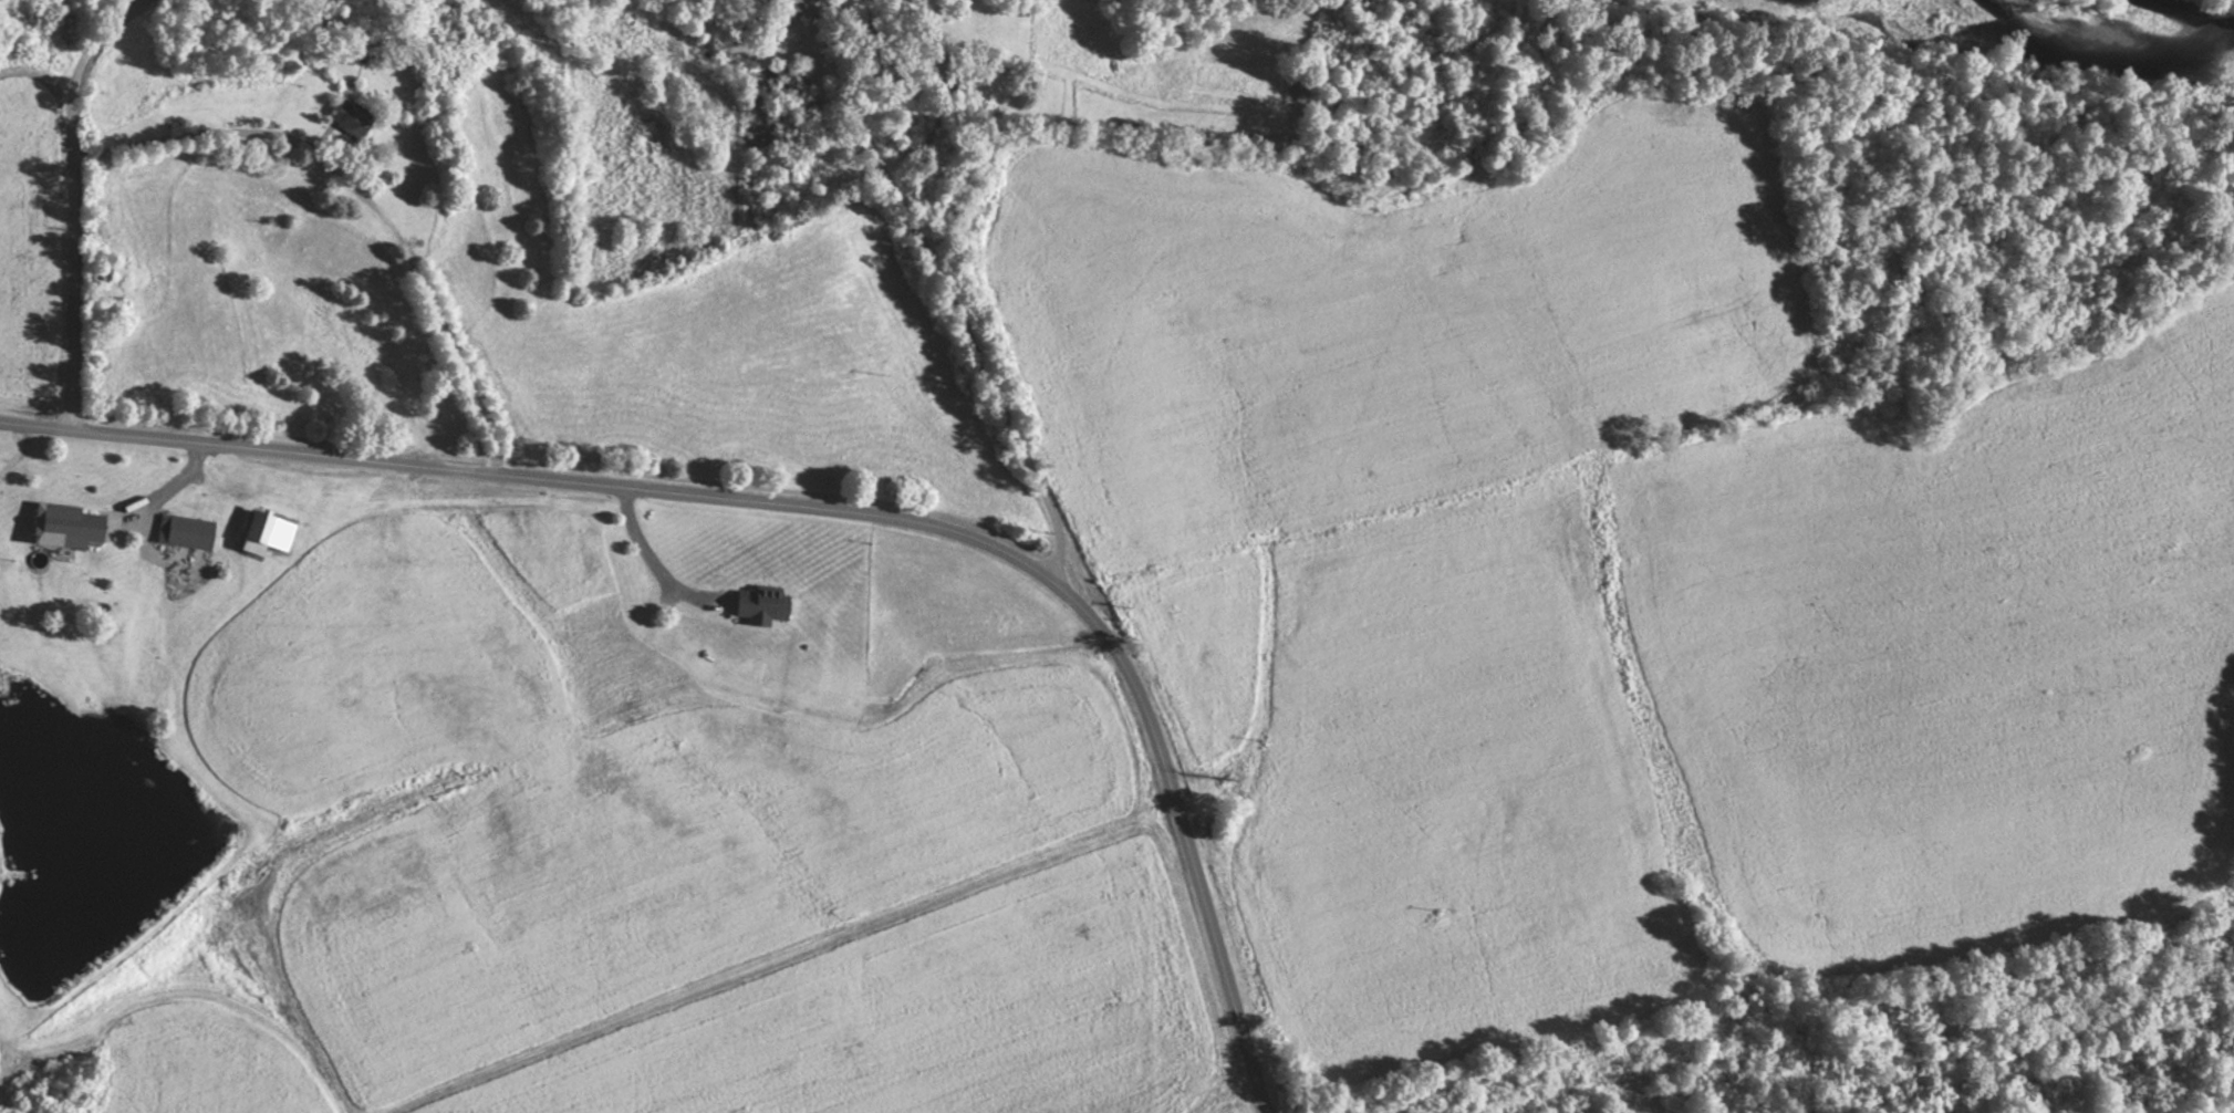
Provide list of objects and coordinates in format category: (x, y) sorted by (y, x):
river: (2034, 27)
building: (344, 119)
road: (362, 199)
road: (72, 210)
building: (102, 273)
road: (955, 294)
road: (819, 511)
building: (65, 526)
building: (186, 533)
building: (262, 534)
building: (758, 606)

